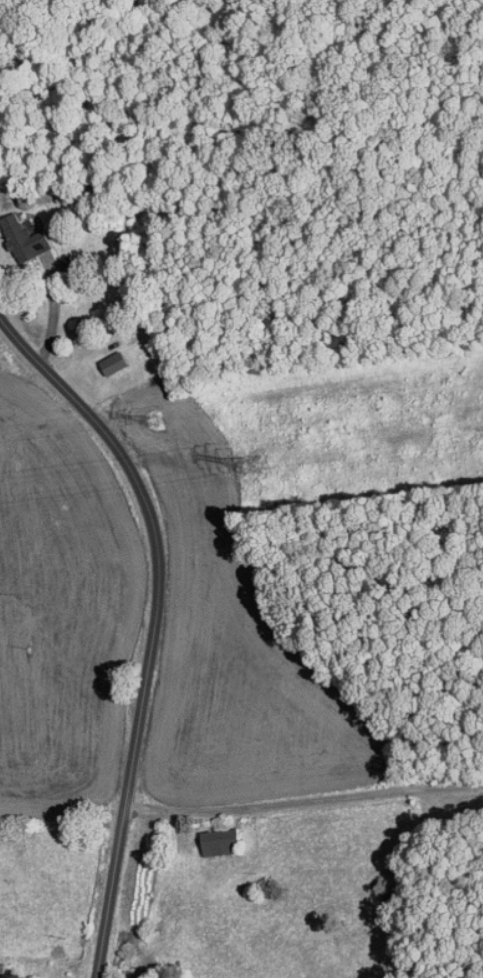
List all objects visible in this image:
building: (18, 234)
building: (106, 358)
power tower: (164, 428)
power tower: (265, 470)
road: (157, 624)
road: (304, 803)
building: (215, 835)

